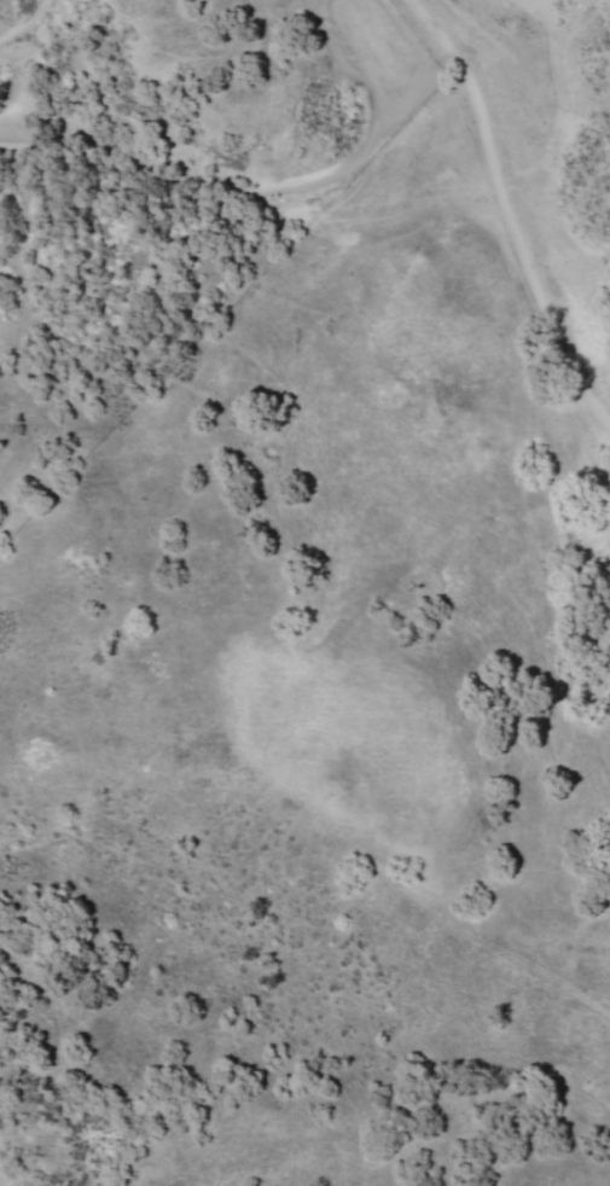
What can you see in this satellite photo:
road: (65, 1037)

